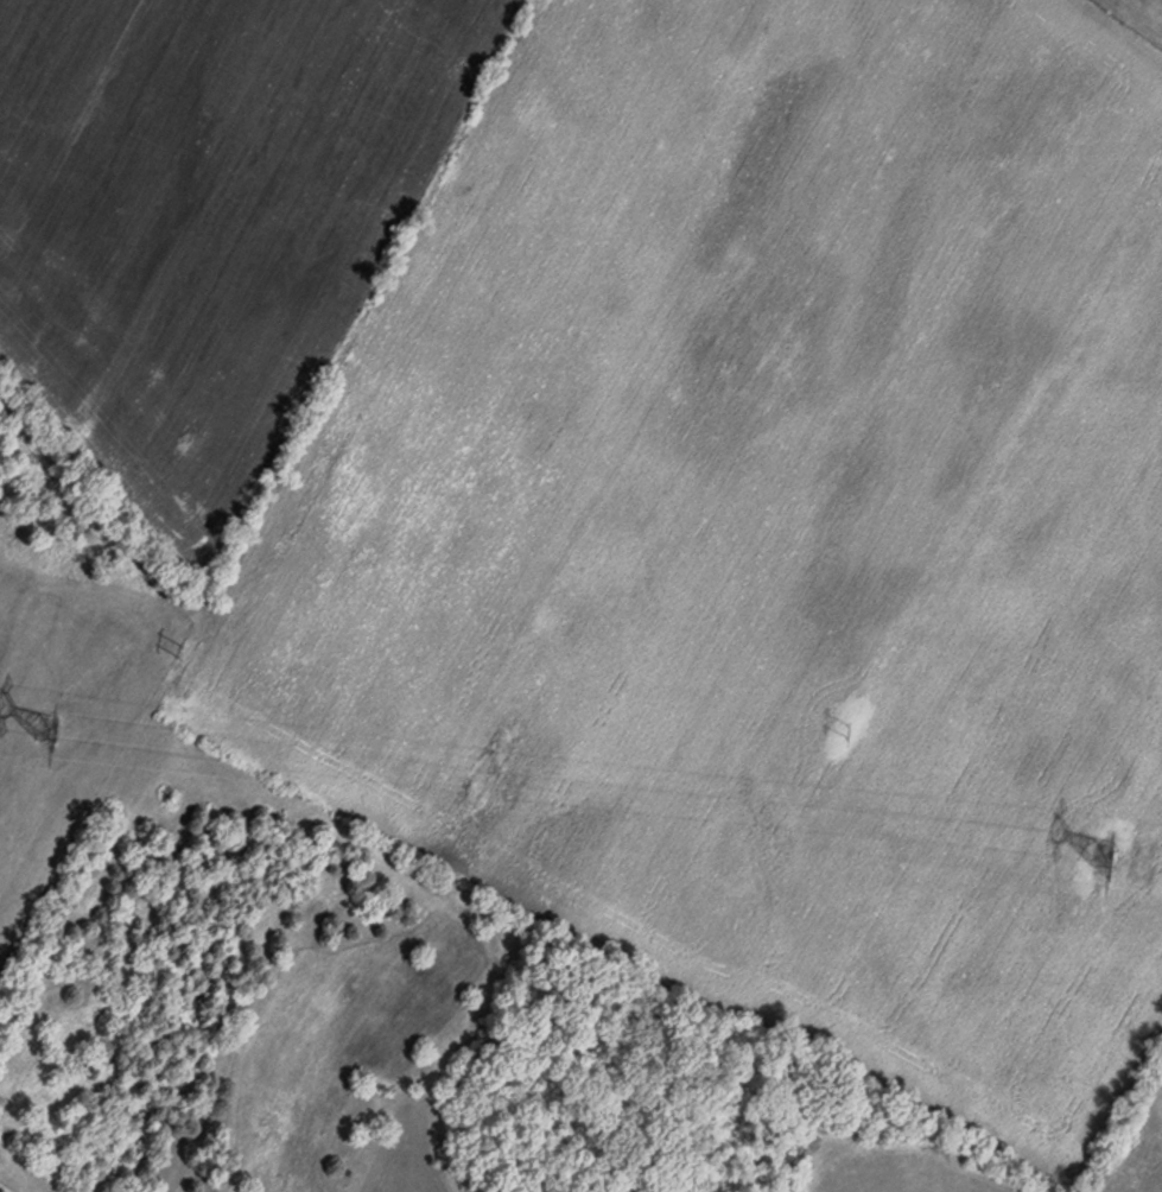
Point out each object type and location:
power tower: (163, 671)
power tower: (77, 728)
power tower: (1145, 849)

